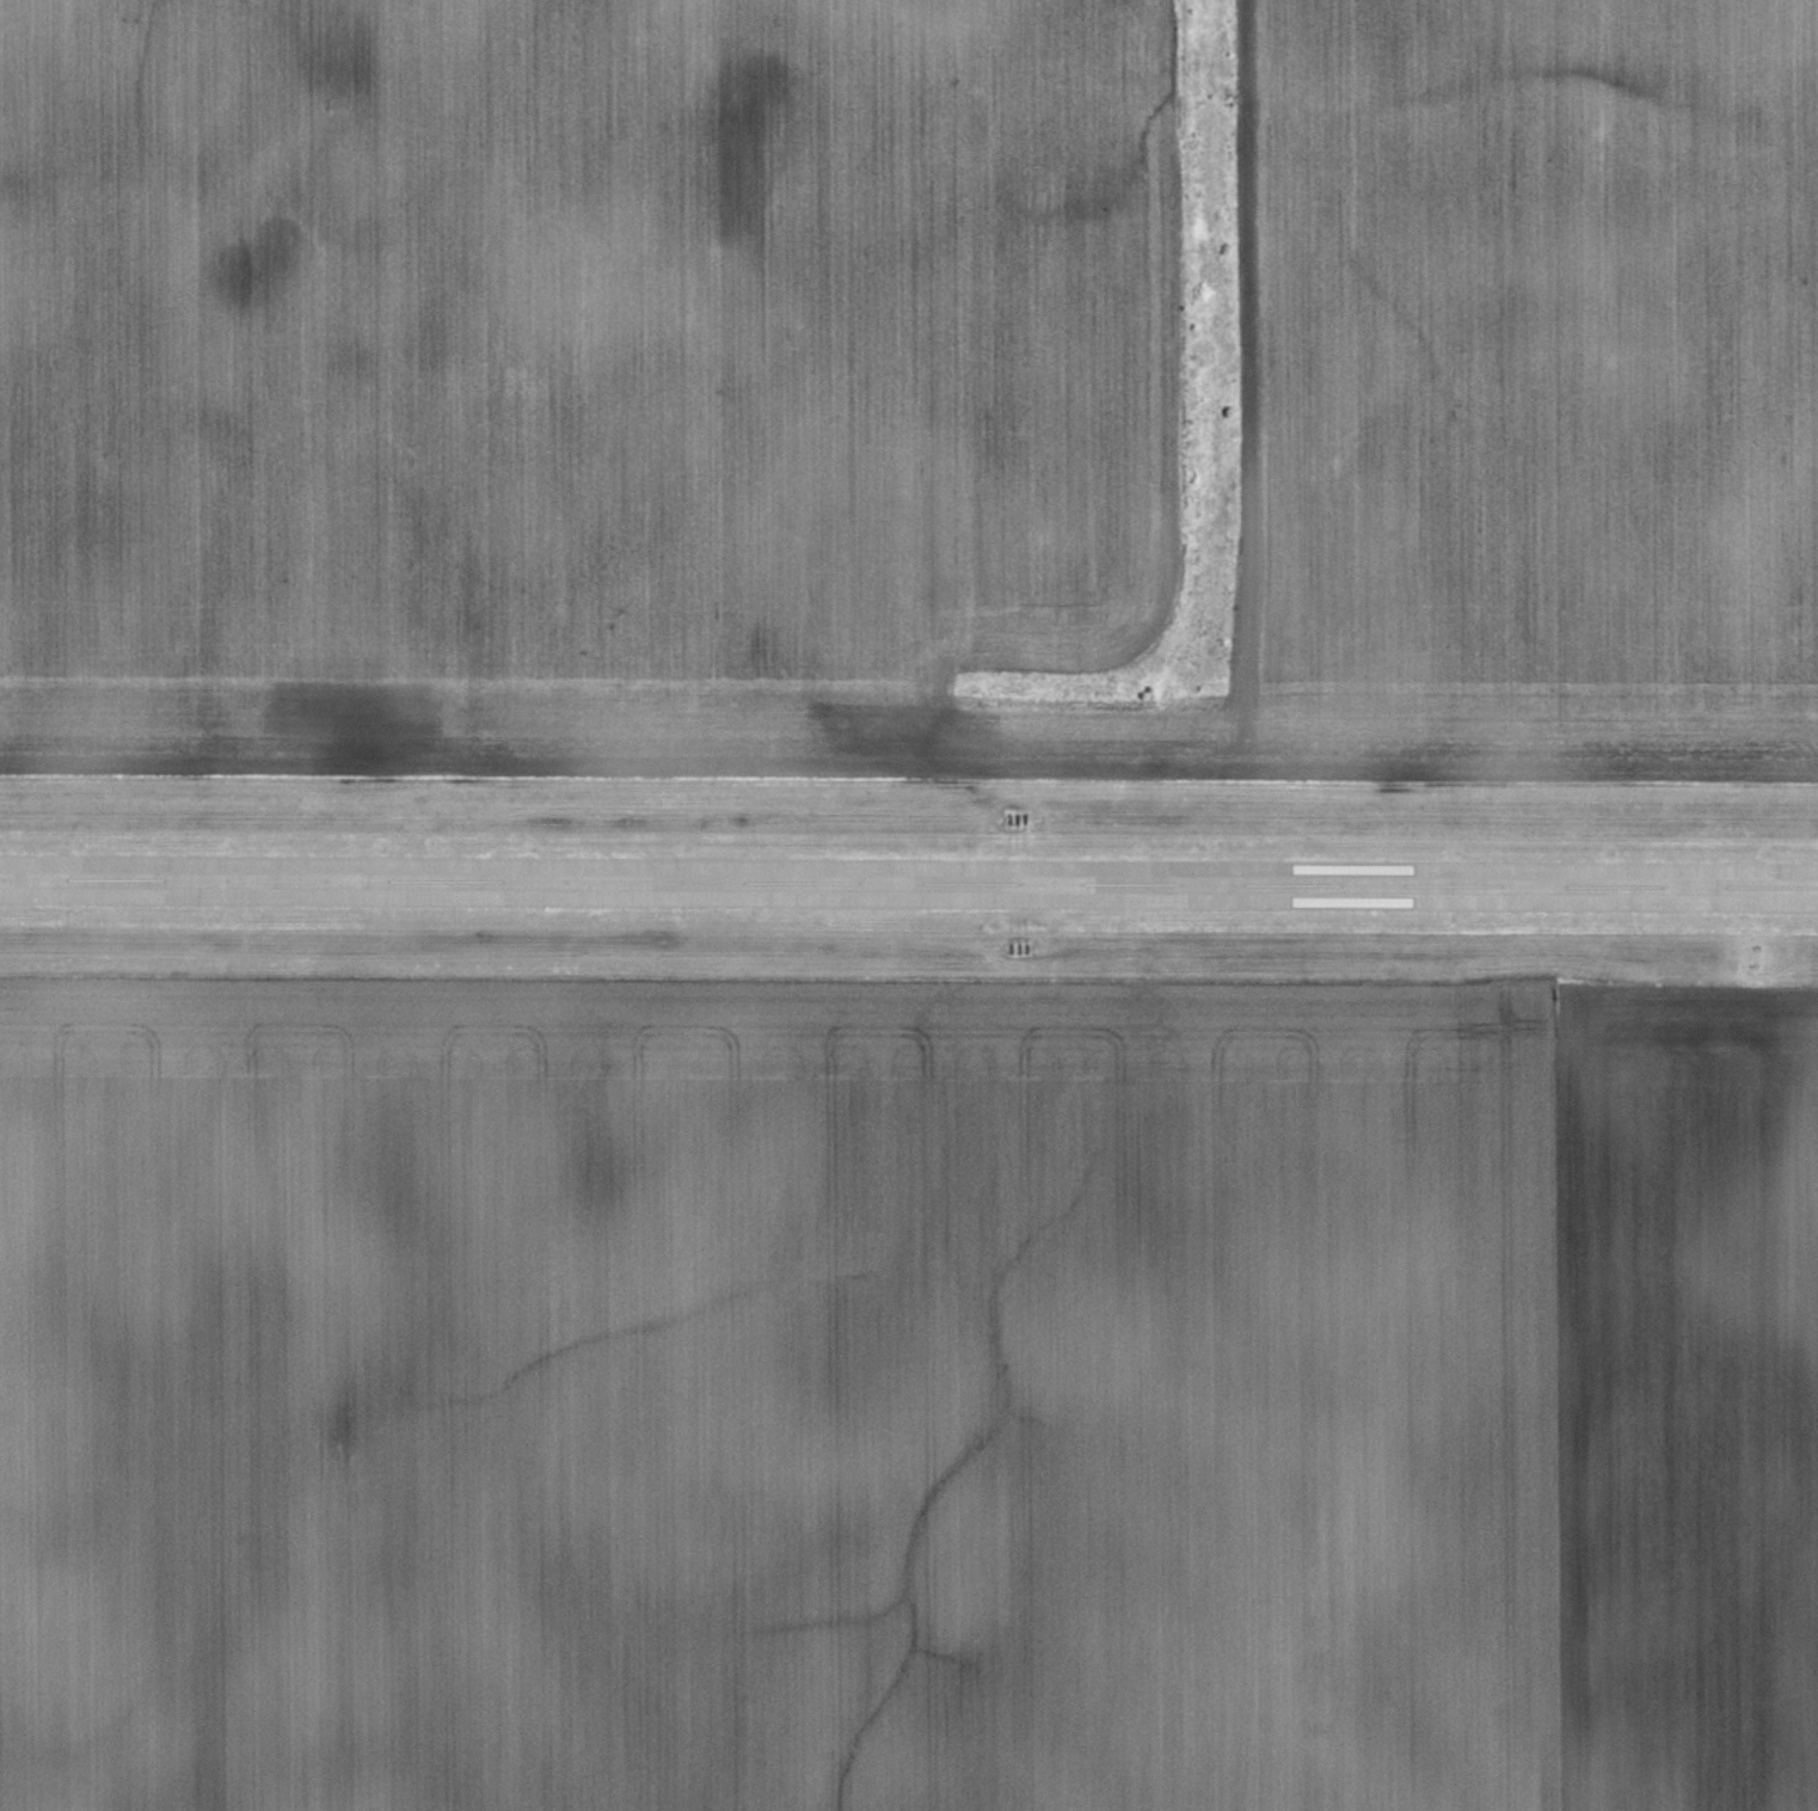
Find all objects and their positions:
airport runway: (909, 882)
airport: (909, 883)

